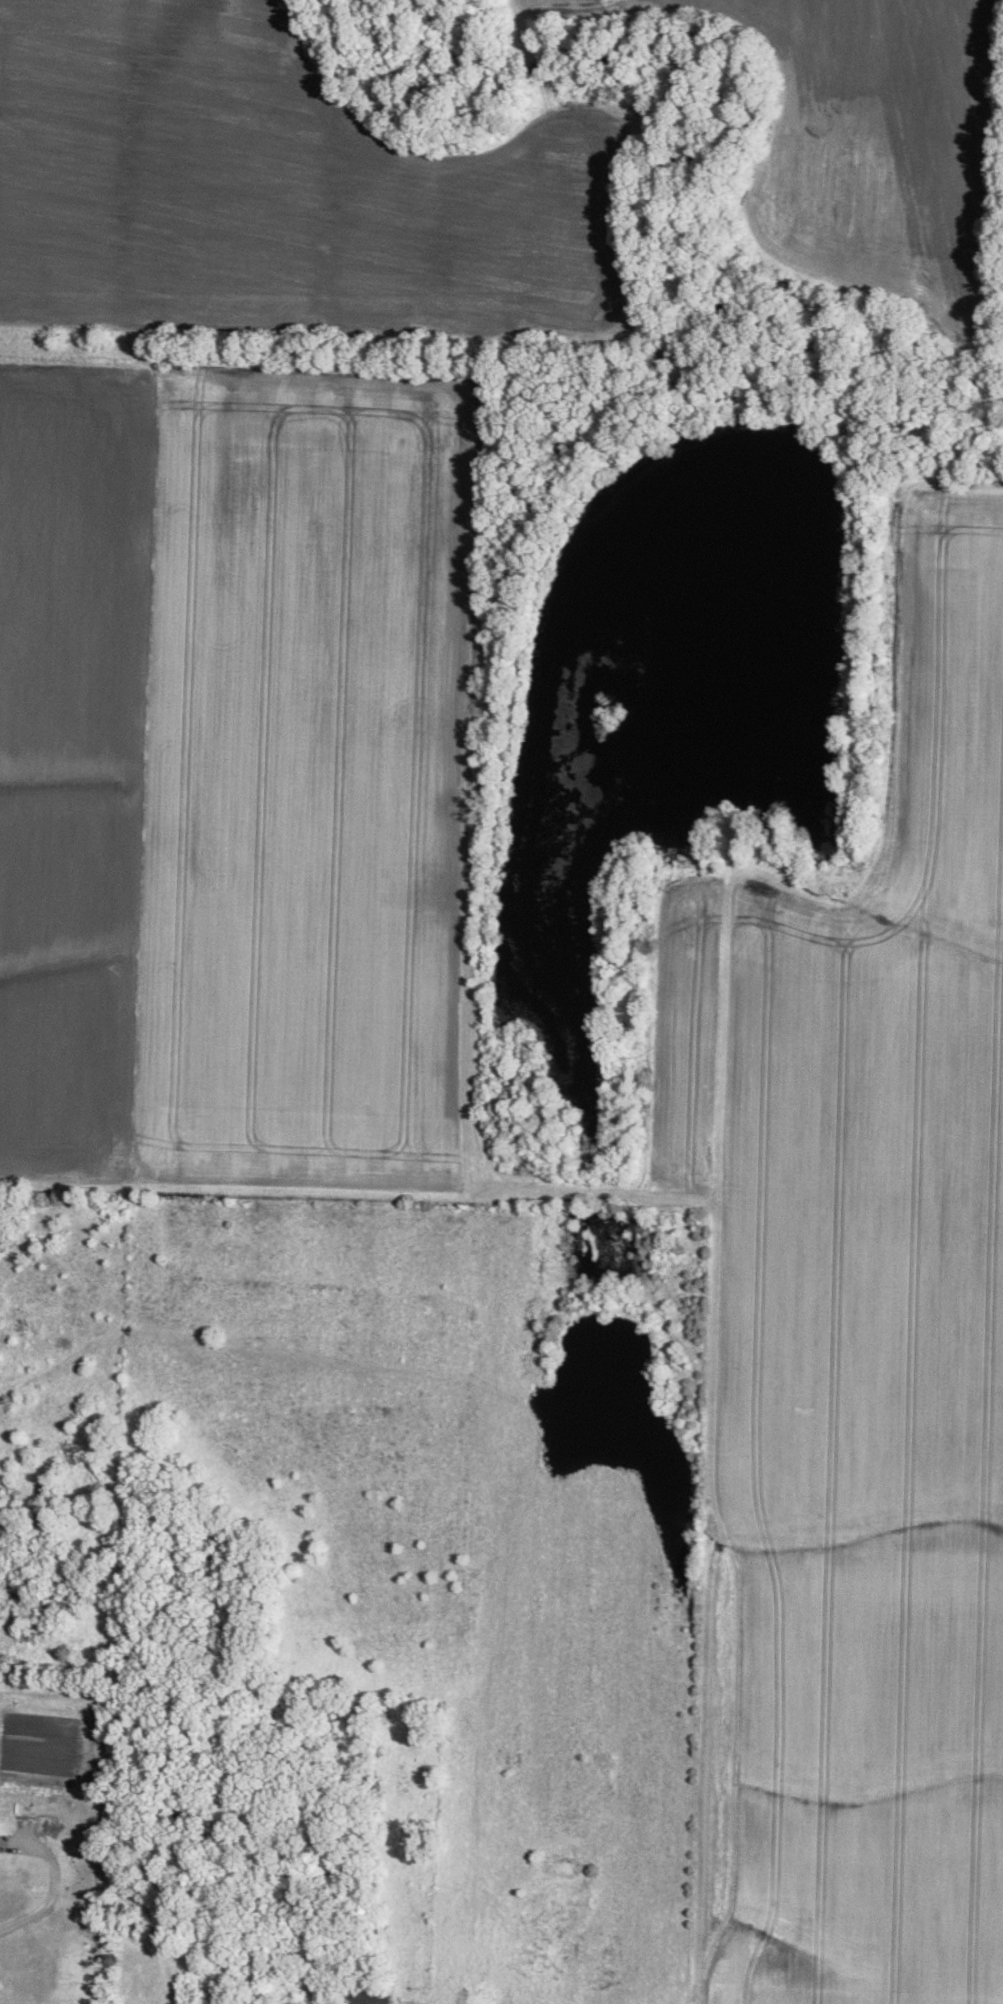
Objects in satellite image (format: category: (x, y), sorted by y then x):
road: (51, 1891)

